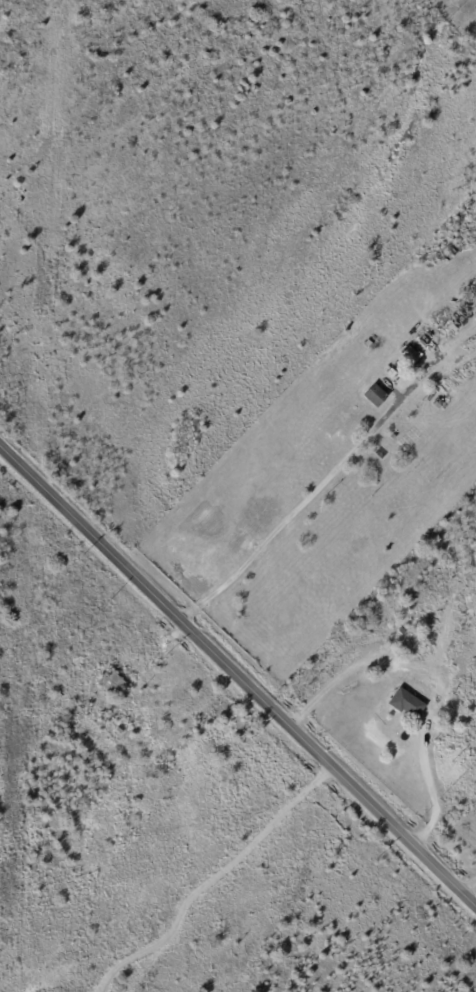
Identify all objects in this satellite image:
building: (453, 329)
building: (368, 345)
building: (412, 357)
building: (393, 374)
building: (376, 397)
building: (438, 405)
building: (408, 634)
building: (387, 638)
building: (415, 658)
road: (235, 680)
building: (111, 684)
road: (325, 692)
building: (416, 693)
building: (407, 703)
building: (441, 703)
building: (120, 731)
road: (426, 774)
road: (444, 810)
road: (212, 882)
road: (471, 891)

